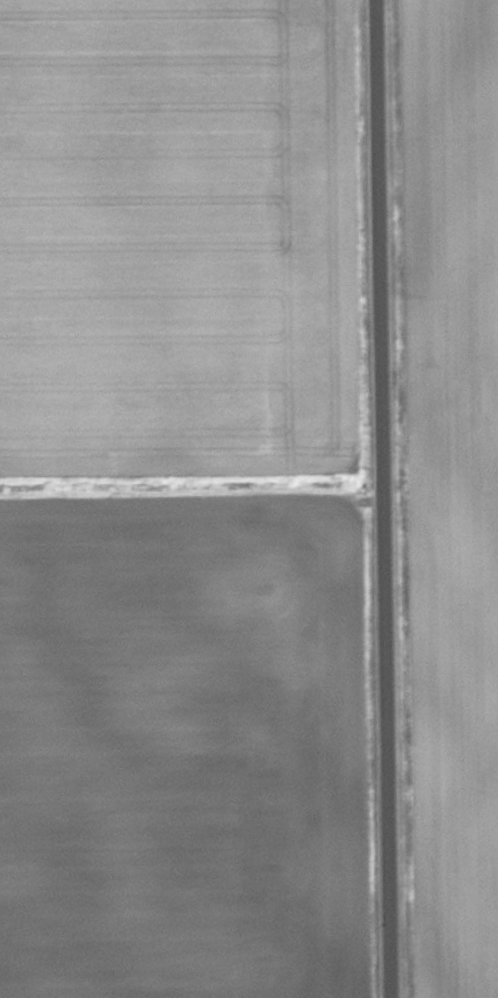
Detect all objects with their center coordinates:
road: (389, 498)

